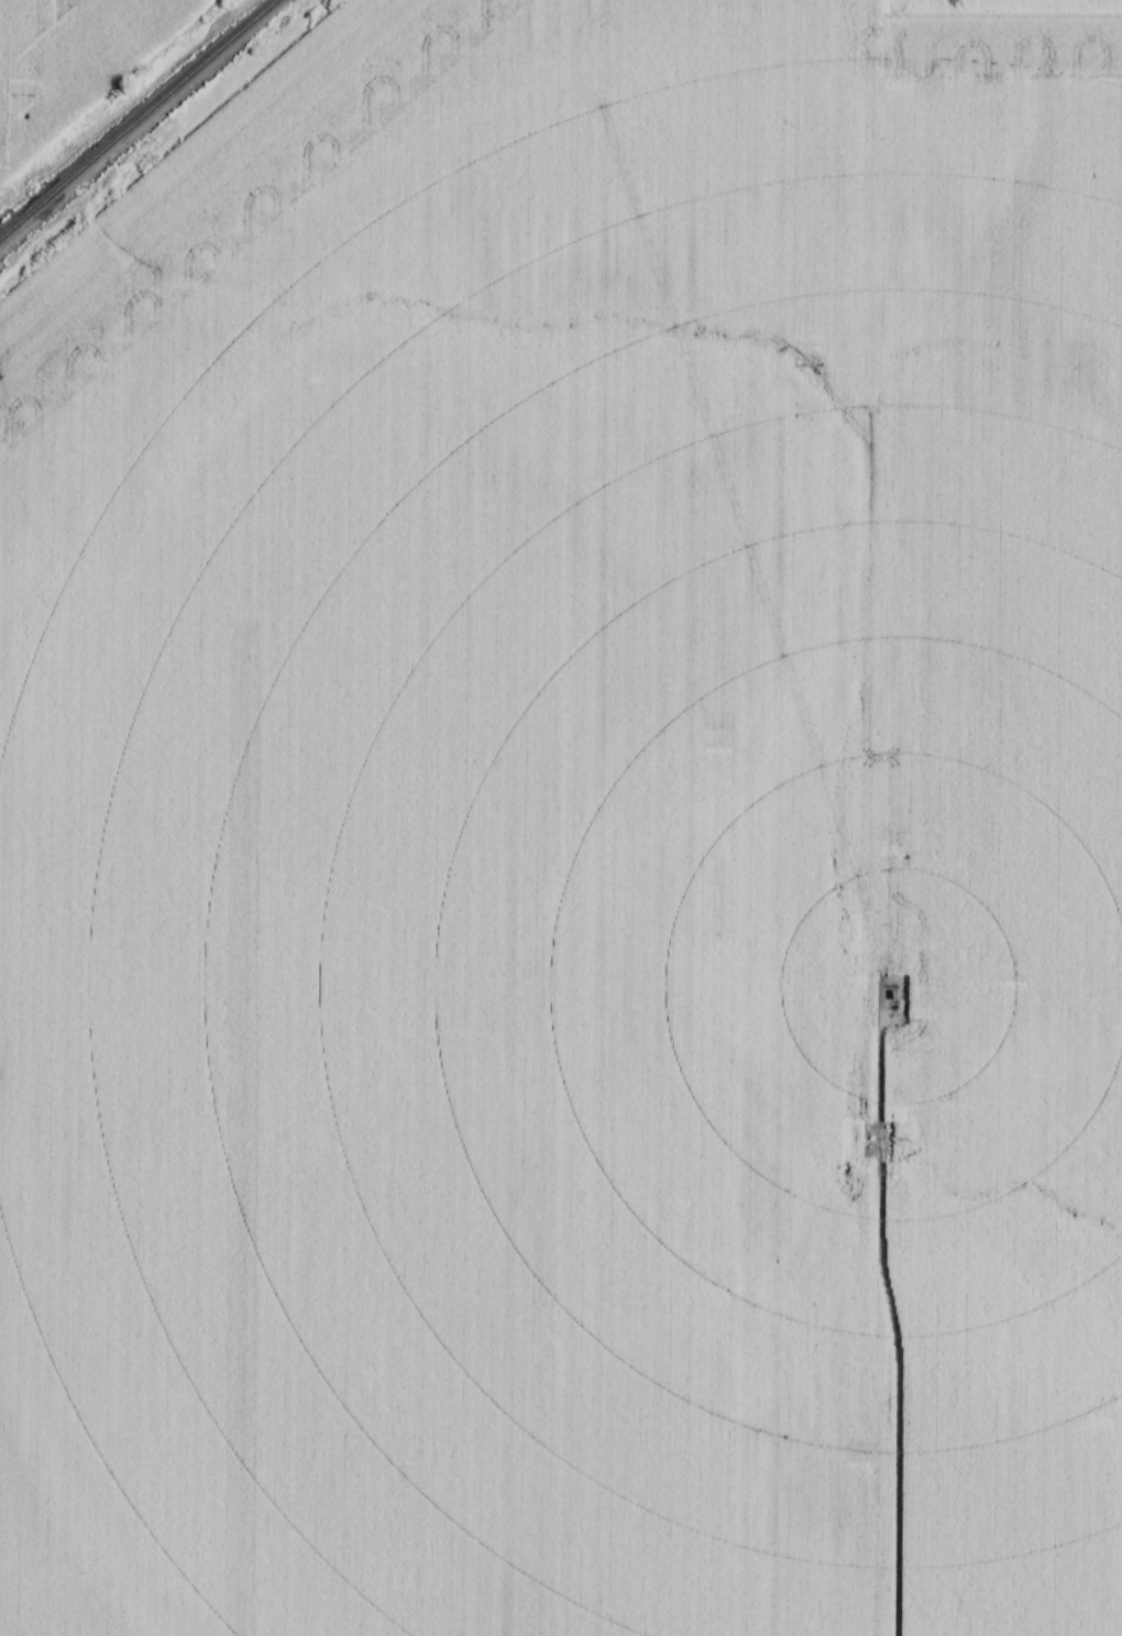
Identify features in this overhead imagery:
crop: (1035, 7)
crop: (68, 59)
railway: (137, 119)
crop: (571, 838)
road: (873, 1333)

